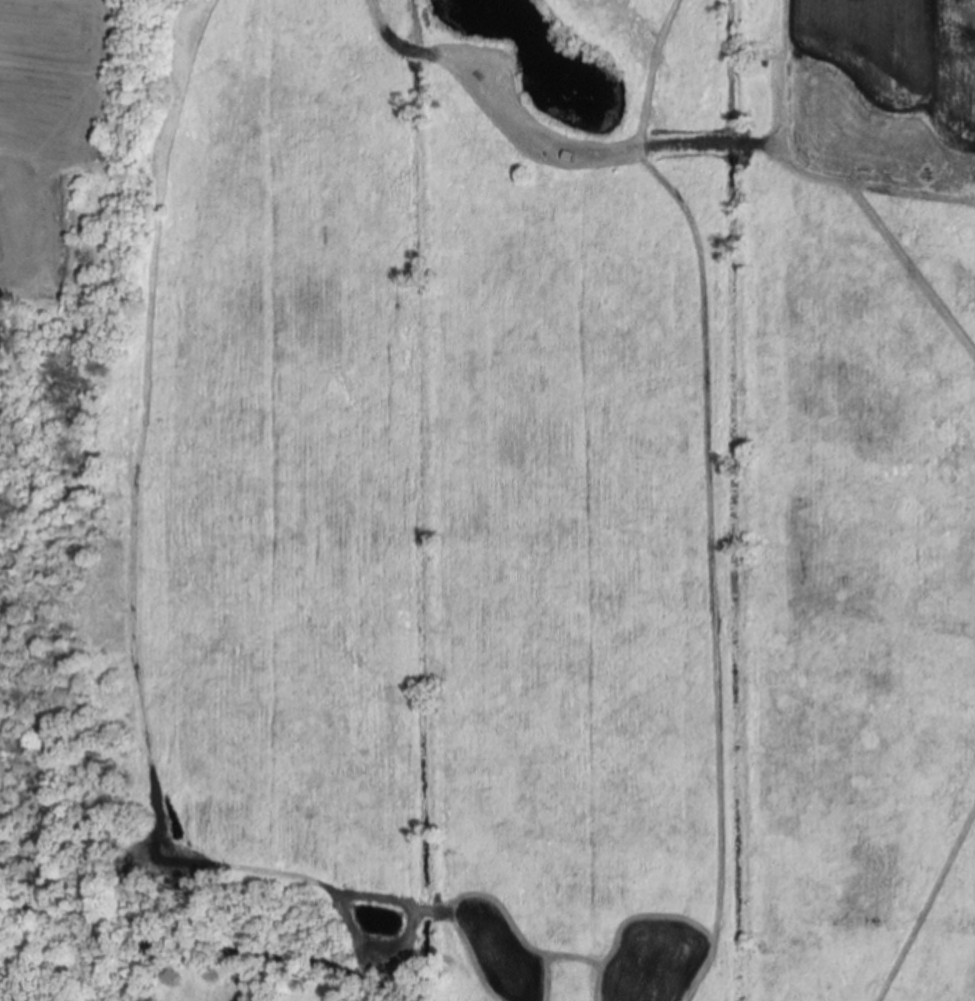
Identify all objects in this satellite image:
river: (207, 878)

